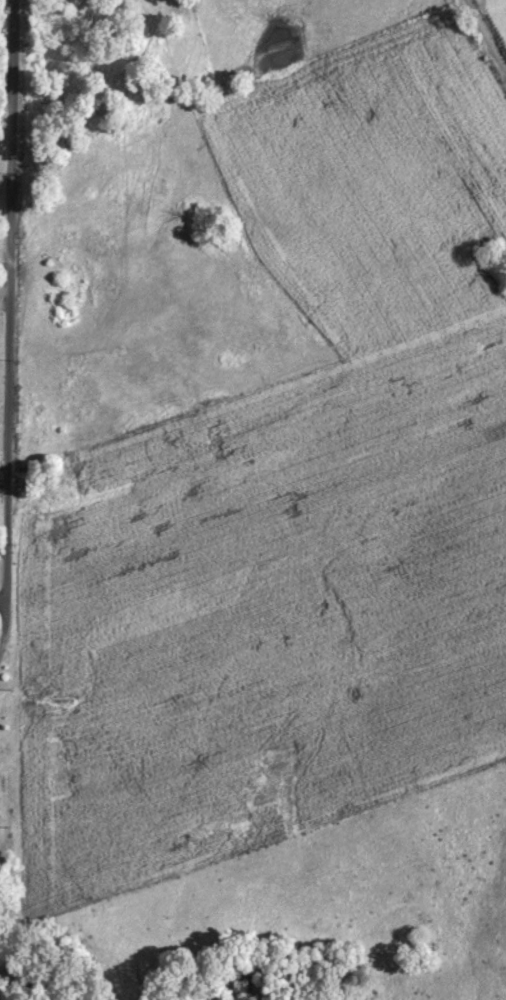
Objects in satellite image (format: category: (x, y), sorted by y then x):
road: (6, 250)
road: (3, 288)
road: (3, 572)

